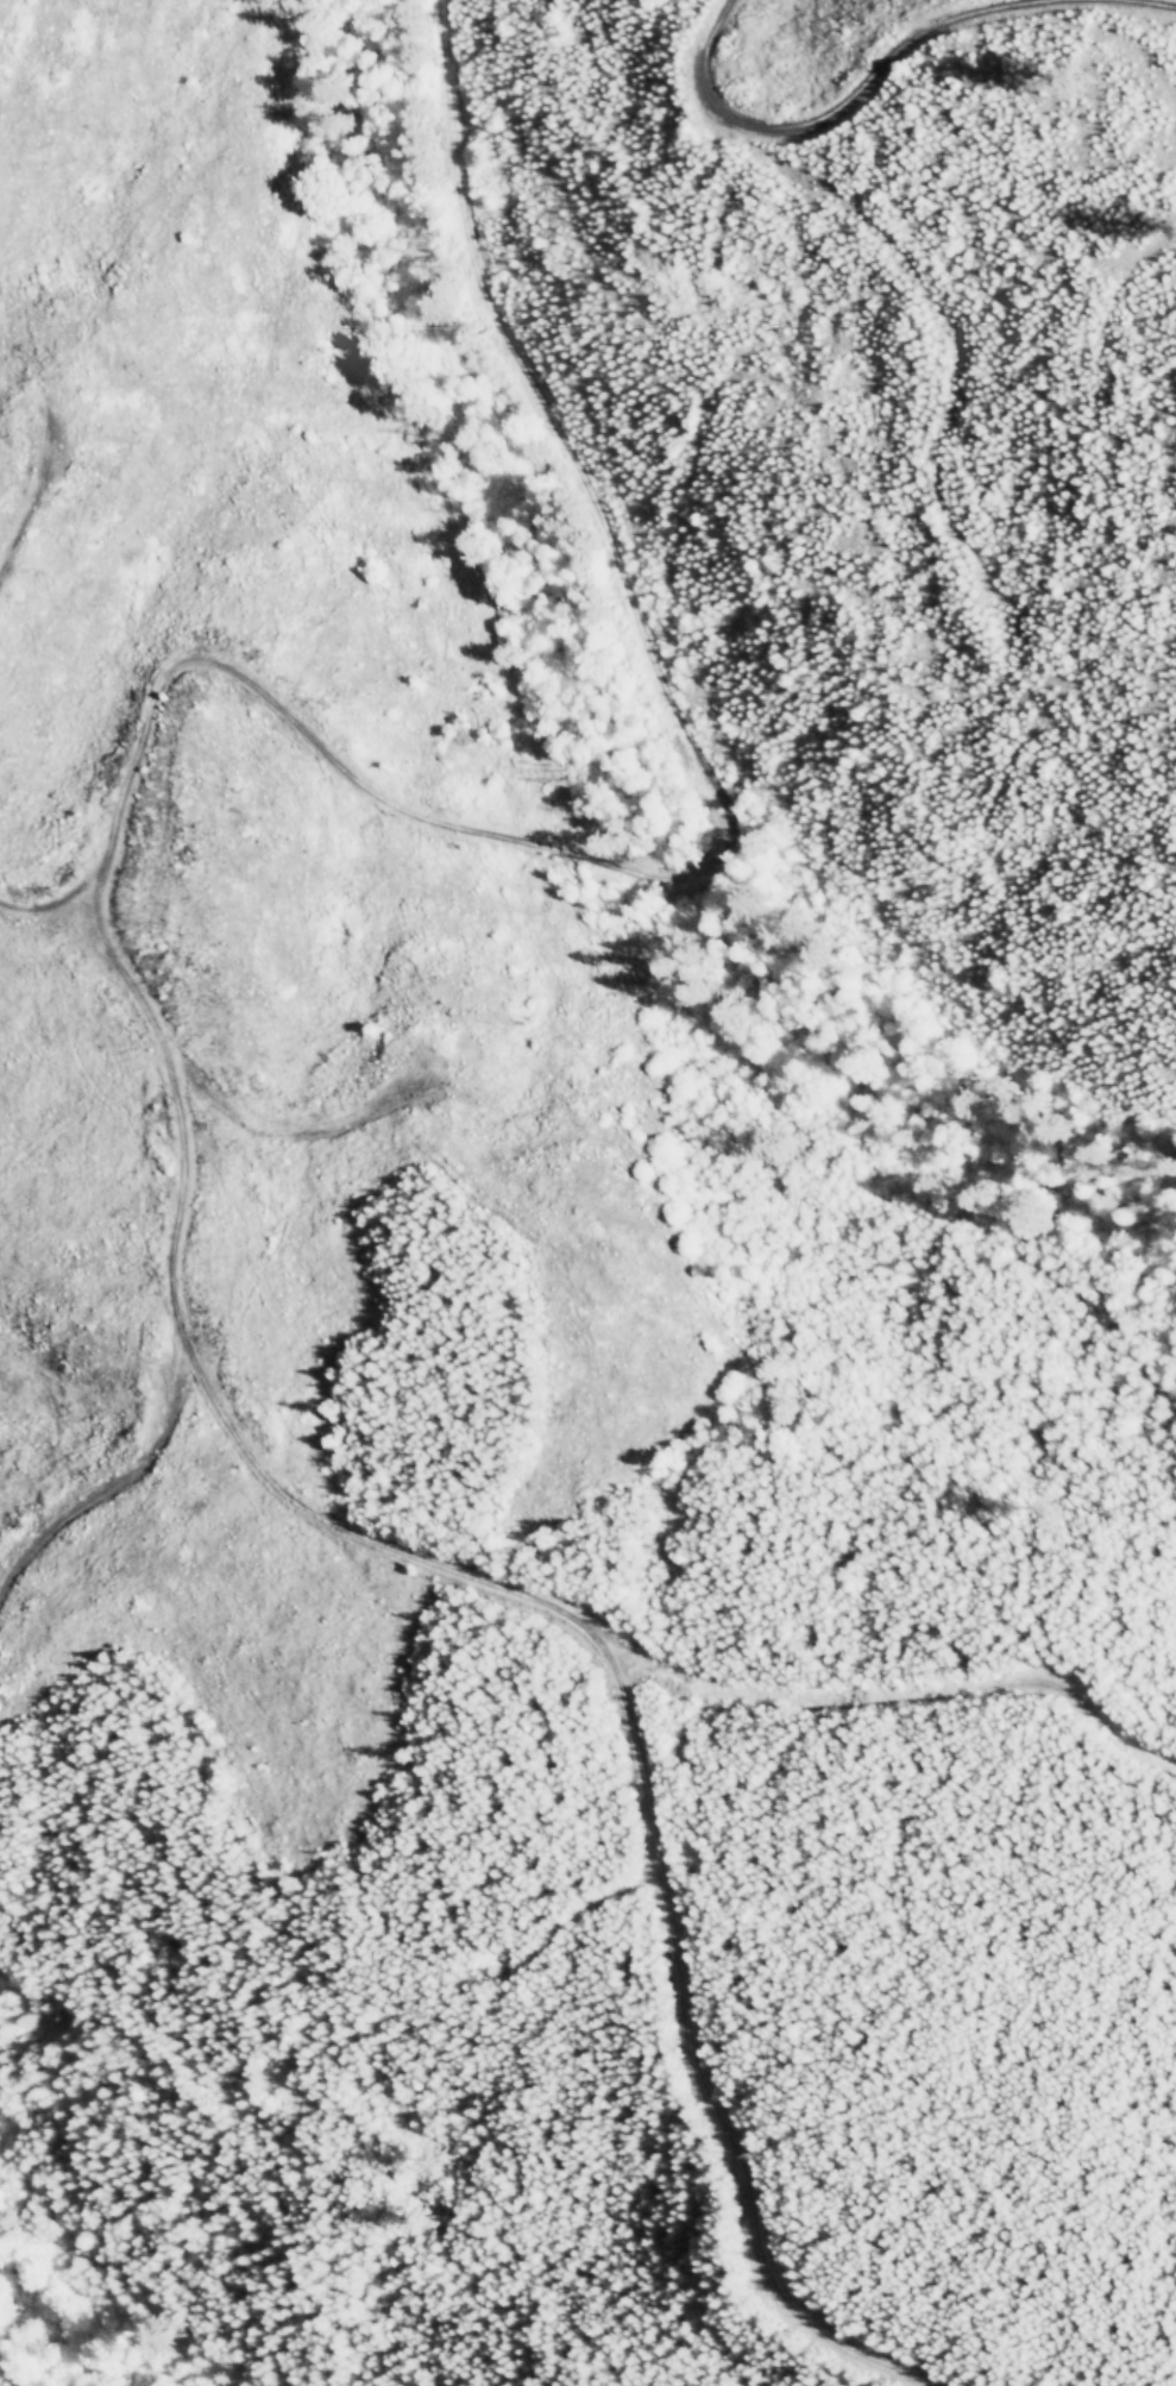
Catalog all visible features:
road: (797, 118)
road: (574, 425)
road: (162, 2253)

